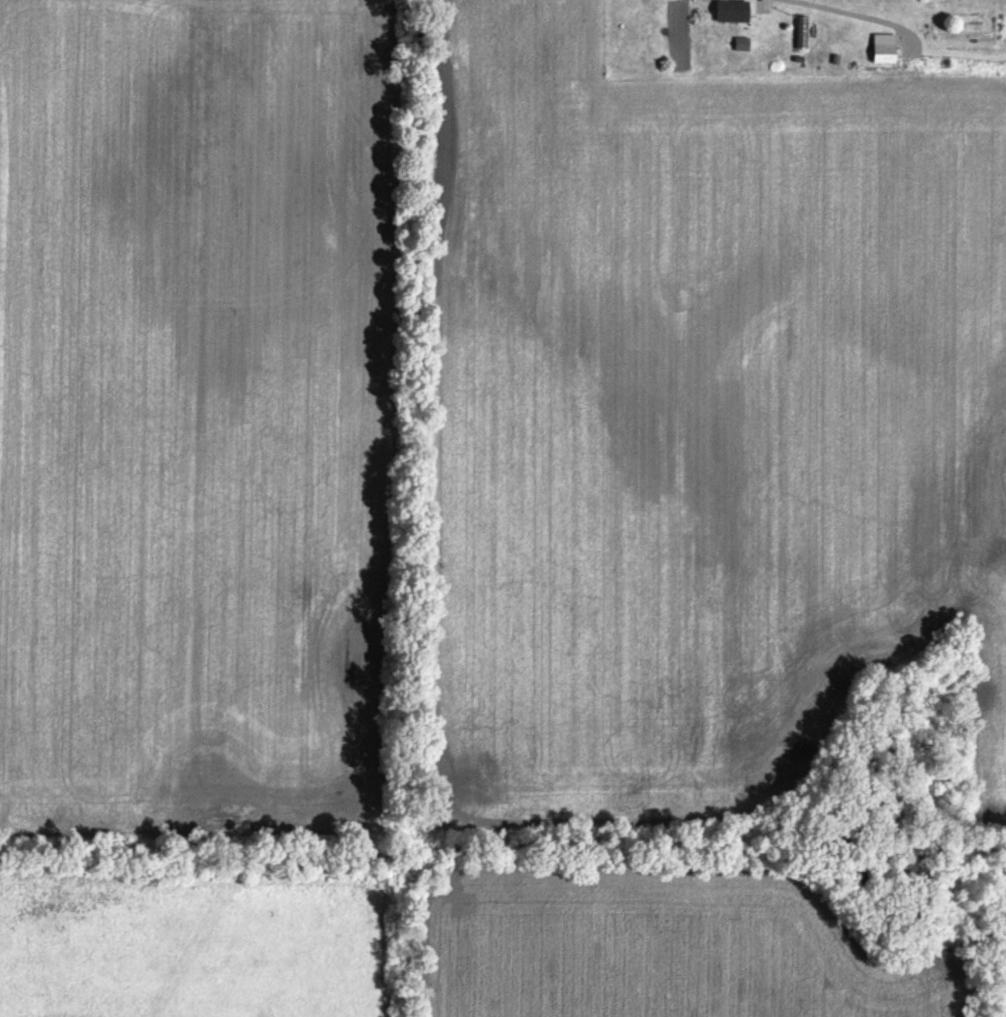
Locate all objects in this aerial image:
building: (733, 13)
building: (886, 56)

